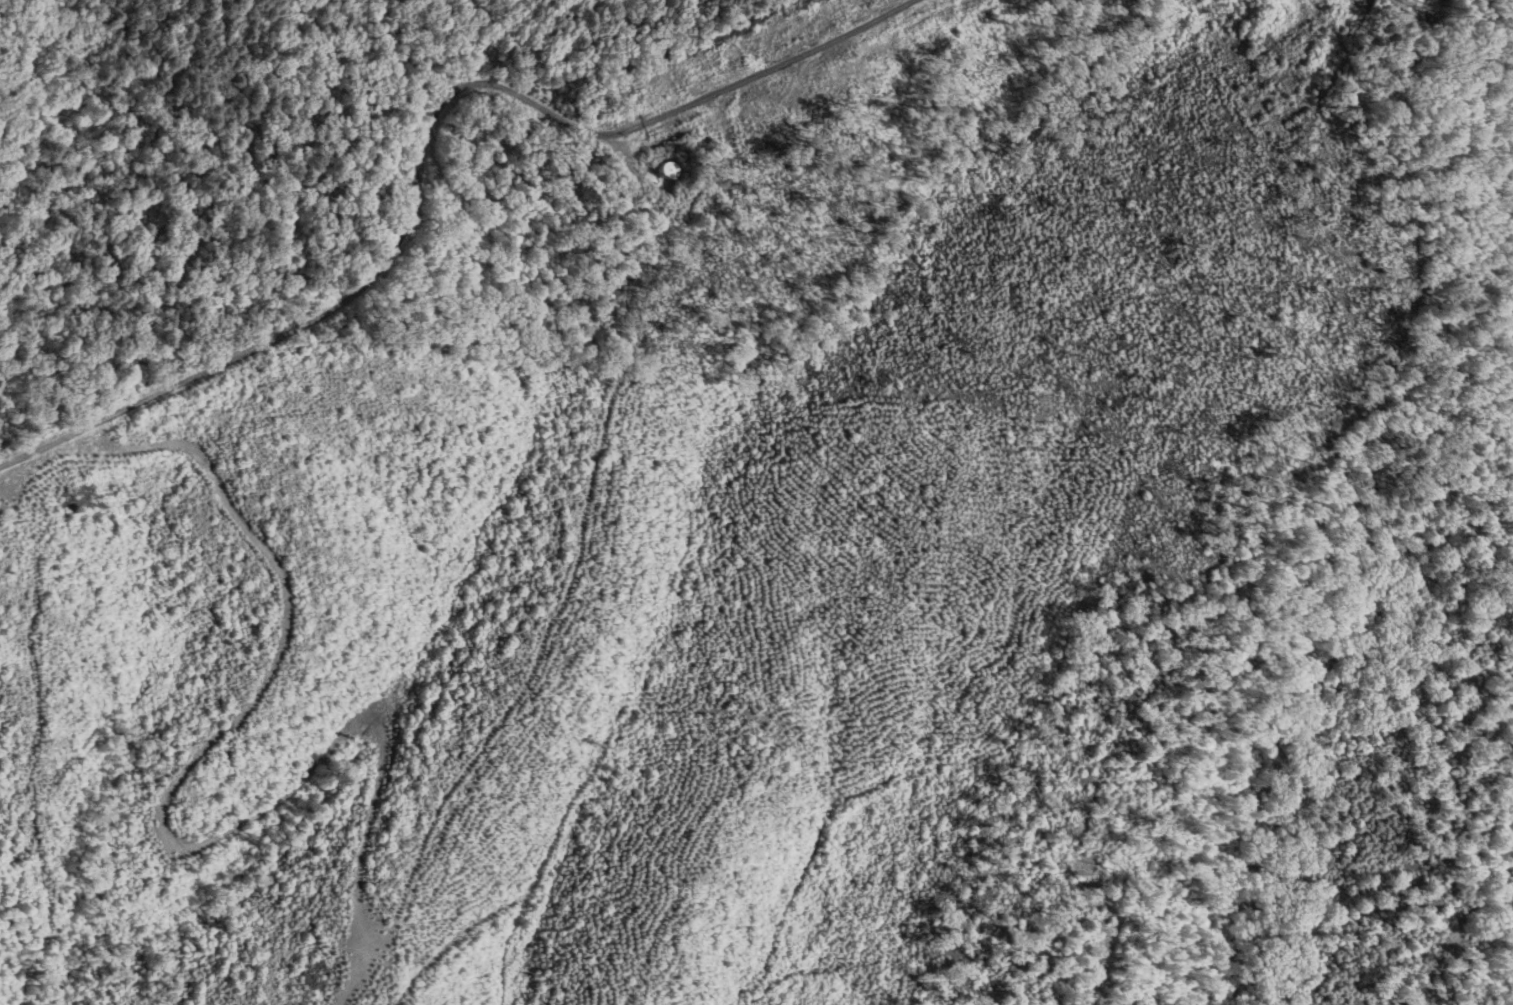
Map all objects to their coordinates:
building: (1431, 2)
road: (251, 39)
road: (426, 151)
building: (667, 171)
road: (175, 214)

